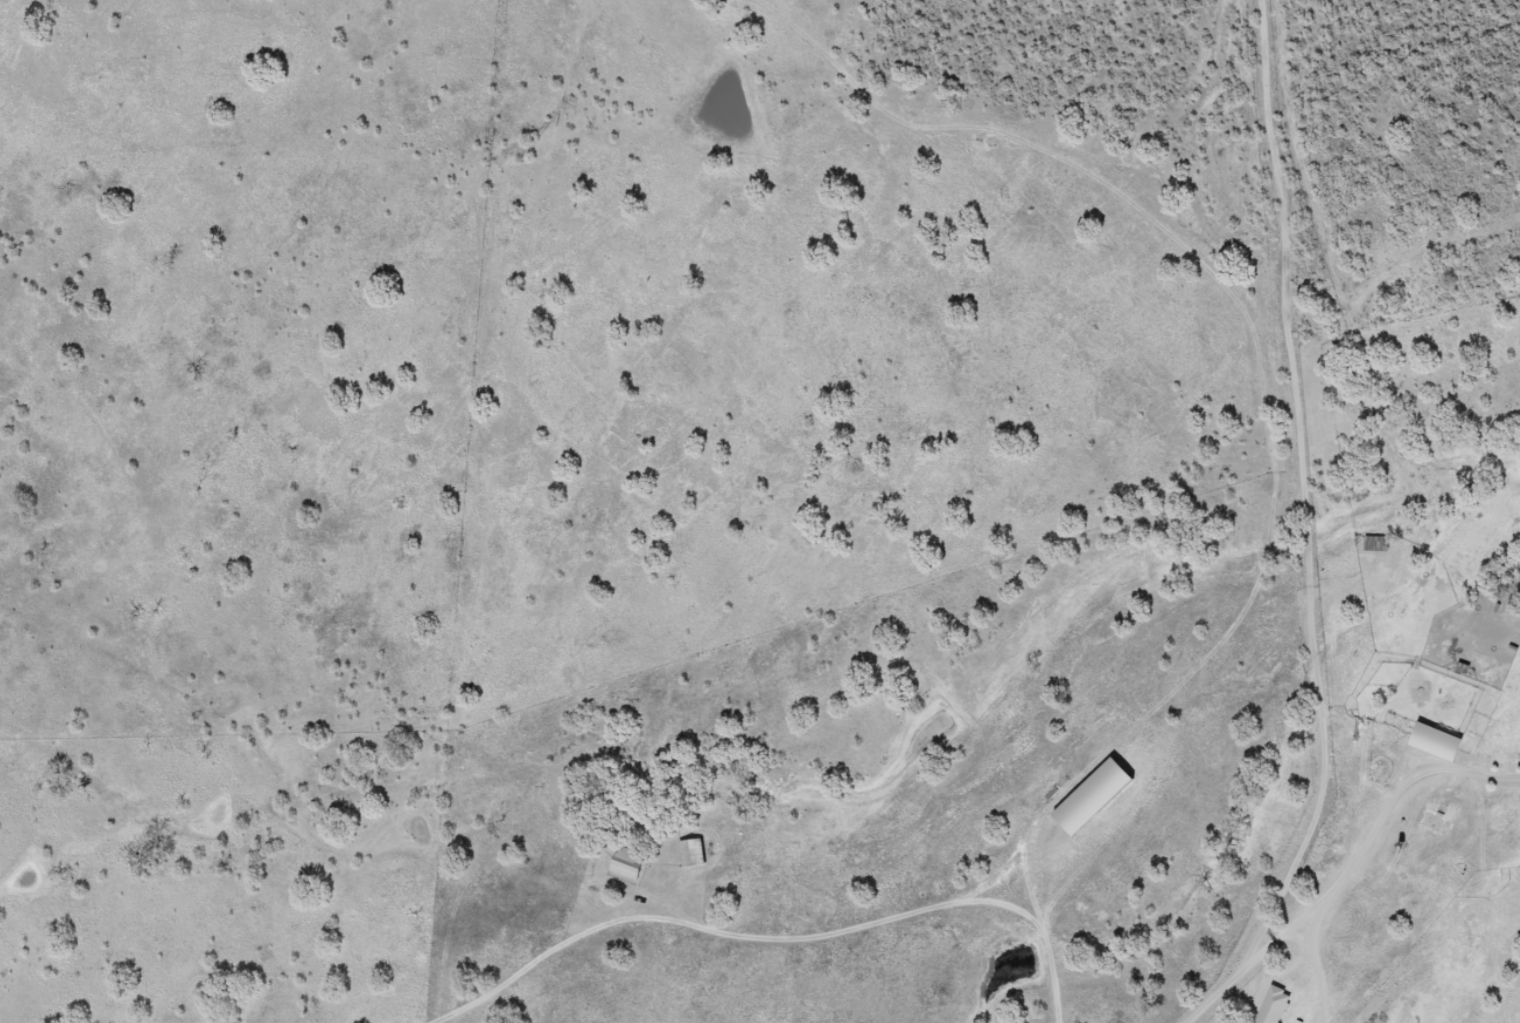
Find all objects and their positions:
road: (1279, 433)
building: (1379, 546)
road: (1425, 798)
building: (694, 854)
building: (631, 864)
road: (1273, 943)
building: (1277, 1007)

